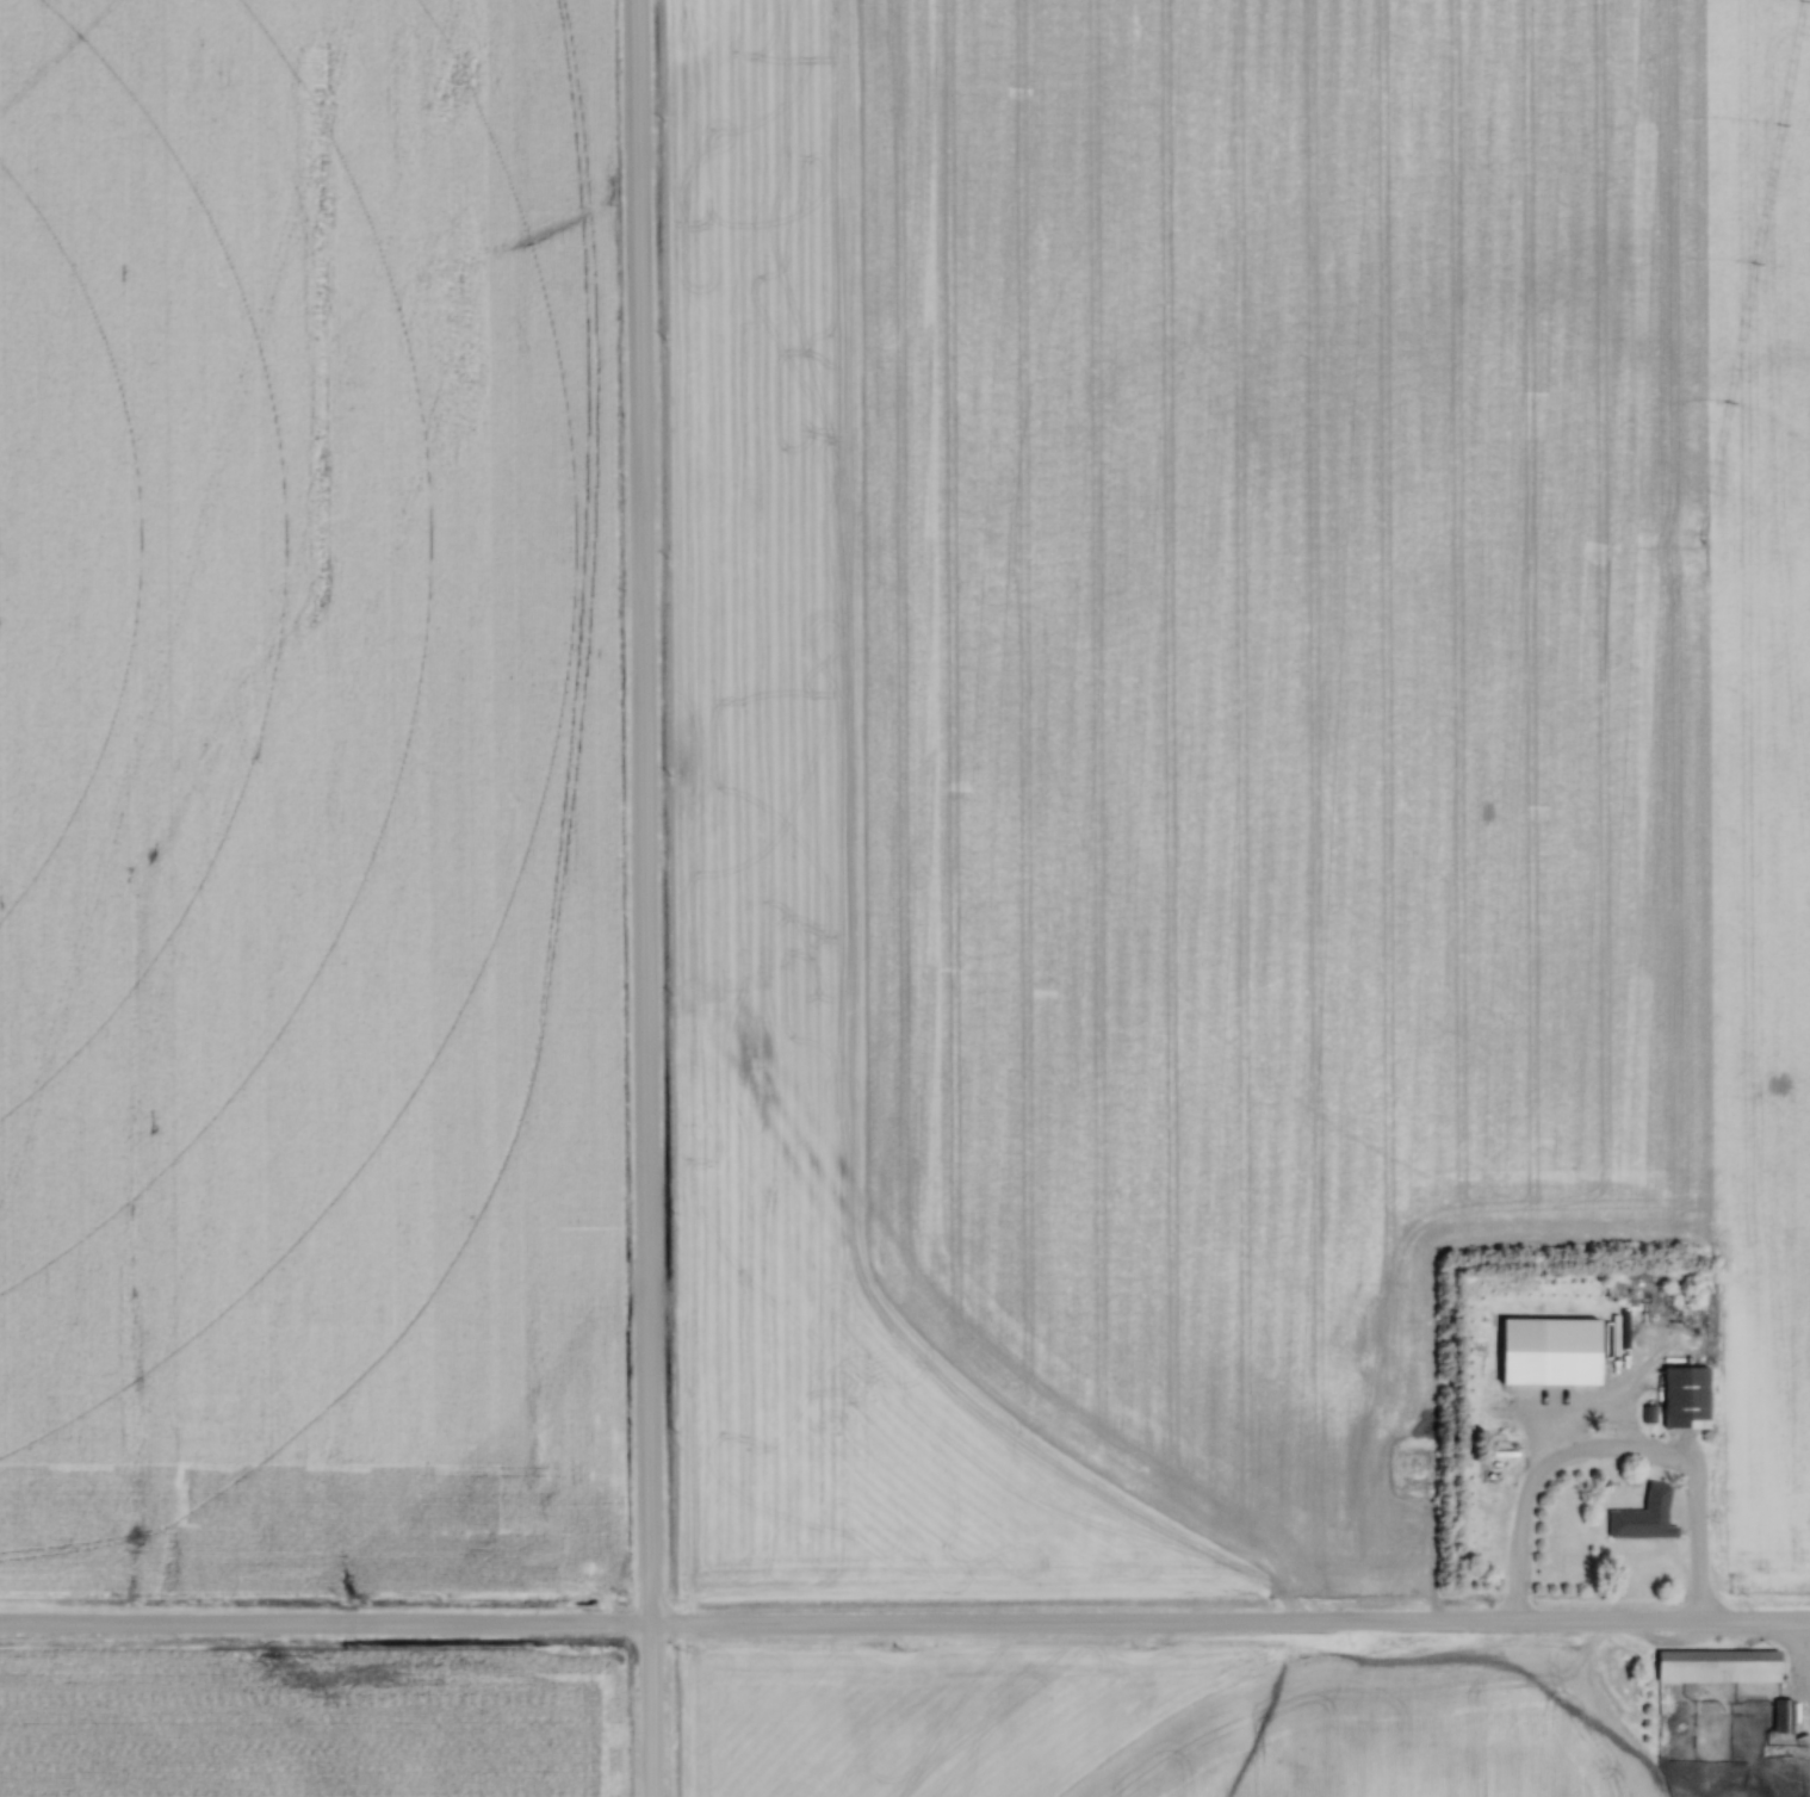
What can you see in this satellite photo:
road: (643, 898)
building: (1688, 1398)
road: (1611, 1454)
building: (1648, 1516)
road: (904, 1629)
building: (1723, 1666)
building: (1786, 1716)

